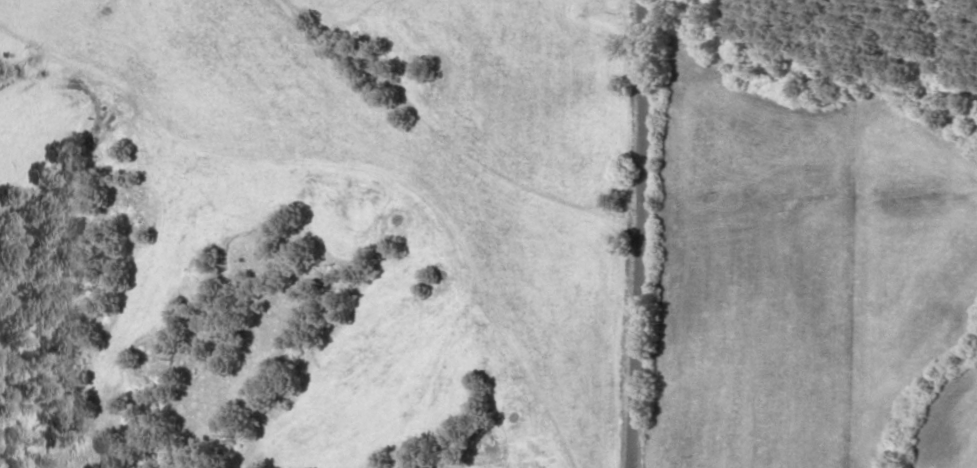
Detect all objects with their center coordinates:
road: (645, 234)

